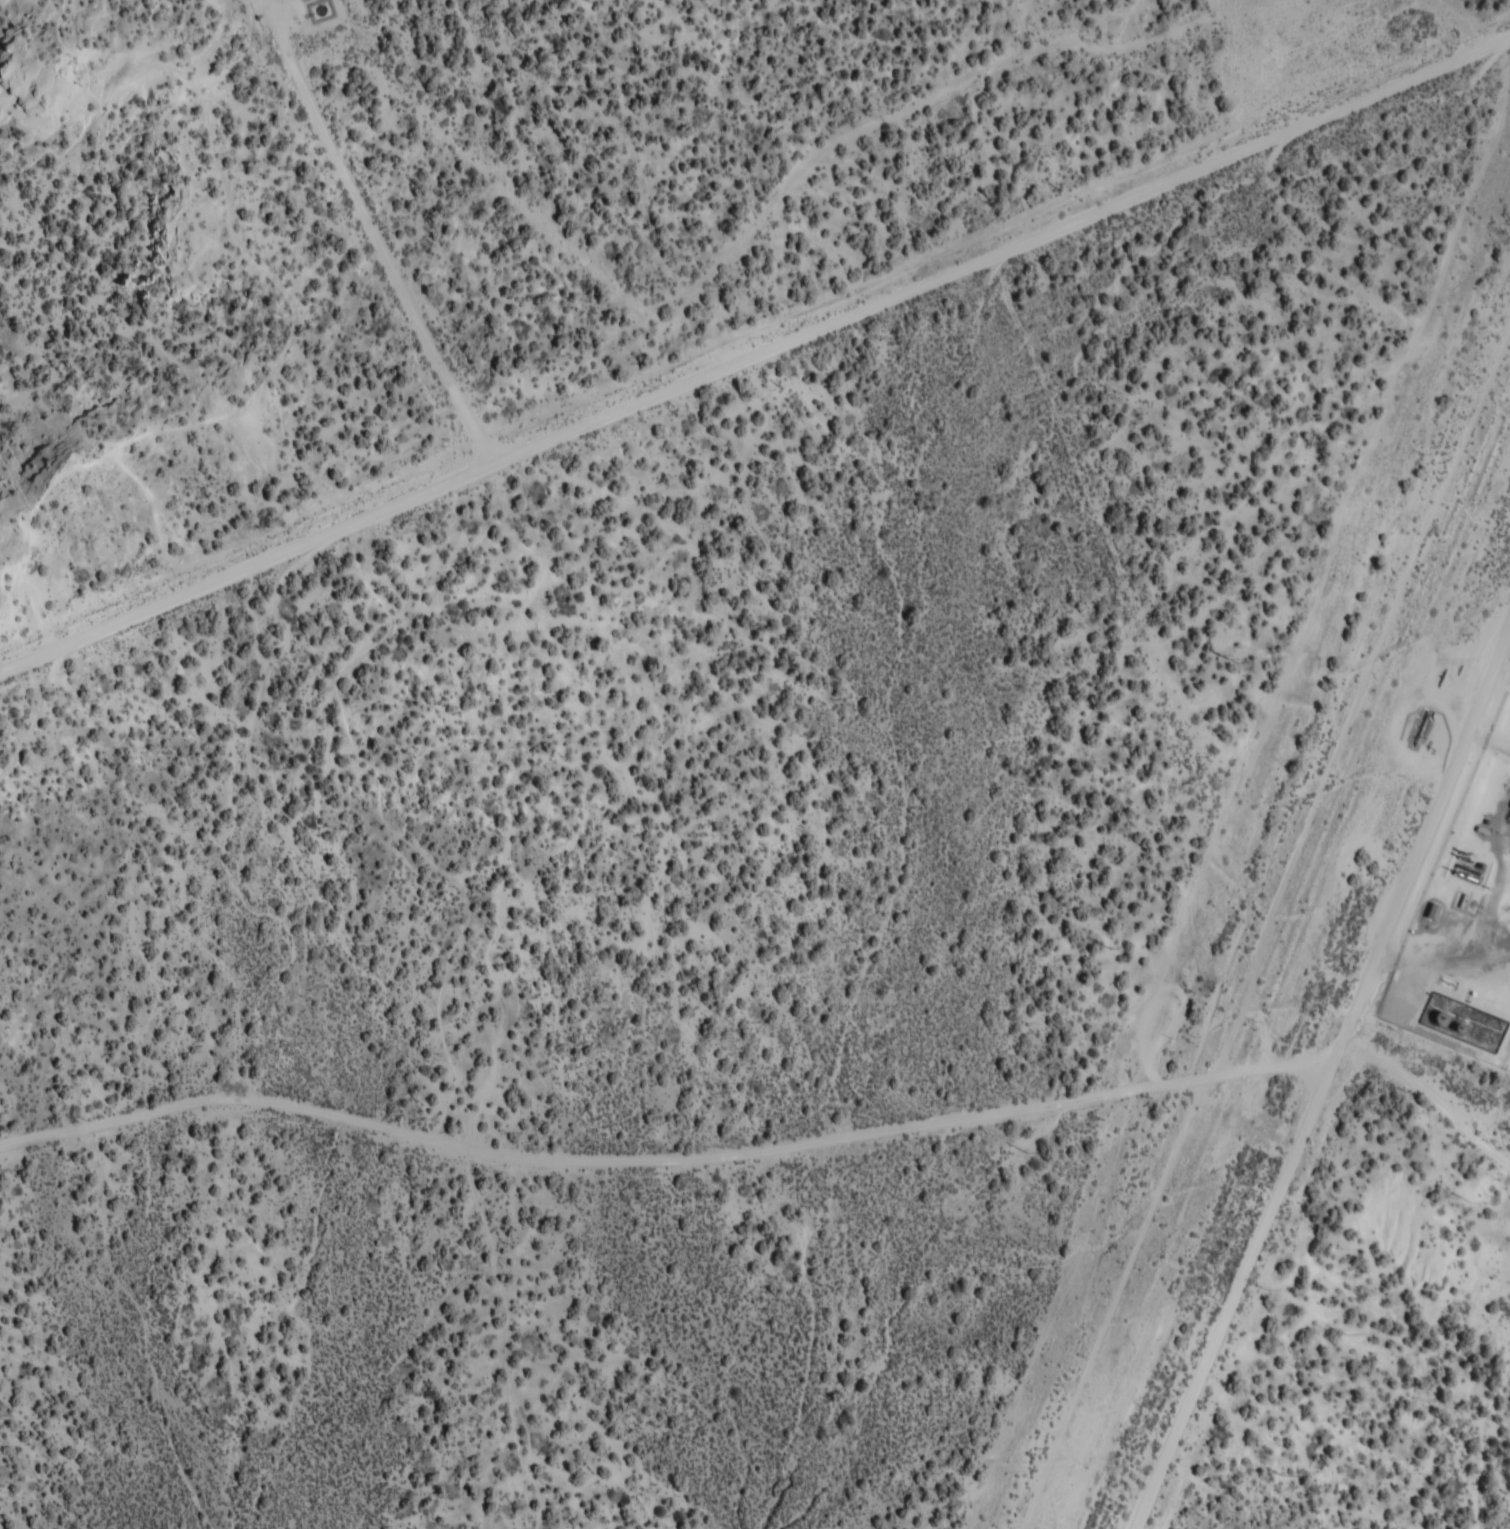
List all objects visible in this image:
road: (374, 236)
road: (754, 353)
road: (1326, 1079)
road: (773, 1149)

